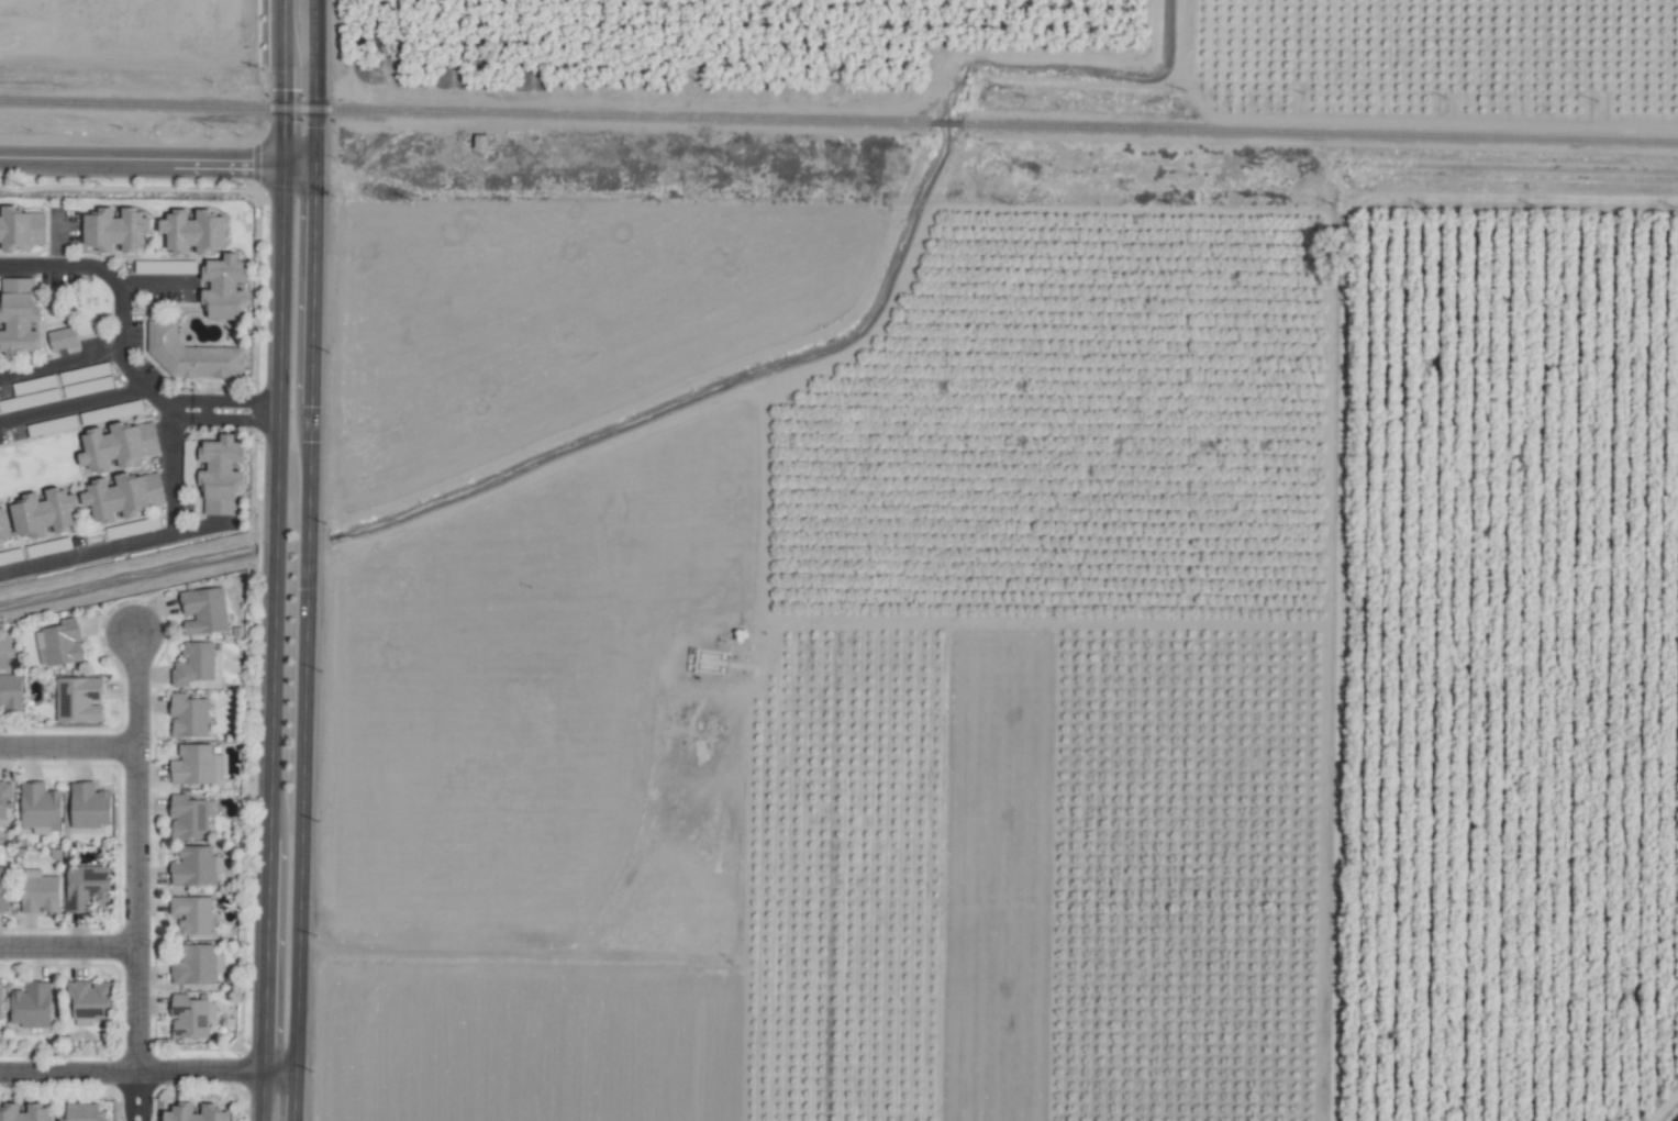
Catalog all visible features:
crop: (136, 86)
railway: (464, 113)
railway: (946, 124)
railway: (1320, 133)
road: (157, 160)
building: (21, 227)
building: (116, 229)
building: (193, 230)
road: (152, 284)
building: (225, 287)
park: (79, 306)
building: (19, 317)
building: (63, 337)
road: (119, 347)
building: (192, 354)
road: (59, 363)
crop: (1082, 400)
road: (73, 402)
road: (202, 409)
road: (164, 411)
building: (118, 445)
road: (81, 460)
building: (221, 475)
building: (123, 495)
road: (171, 510)
building: (43, 512)
building: (3, 525)
crop: (976, 559)
road: (276, 560)
road: (309, 560)
building: (204, 611)
building: (63, 643)
building: (195, 664)
road: (137, 690)
building: (11, 692)
building: (80, 699)
building: (189, 715)
road: (68, 748)
building: (198, 765)
building: (4, 797)
building: (40, 806)
building: (90, 806)
building: (191, 817)
building: (196, 867)
building: (87, 886)
building: (3, 890)
building: (41, 894)
road: (137, 911)
building: (193, 913)
road: (69, 948)
building: (195, 965)
building: (91, 1000)
building: (1, 1001)
building: (31, 1006)
building: (191, 1017)
road: (148, 1073)
road: (127, 1096)
road: (144, 1097)
road: (135, 1110)
building: (216, 1111)
building: (25, 1112)
building: (84, 1112)

